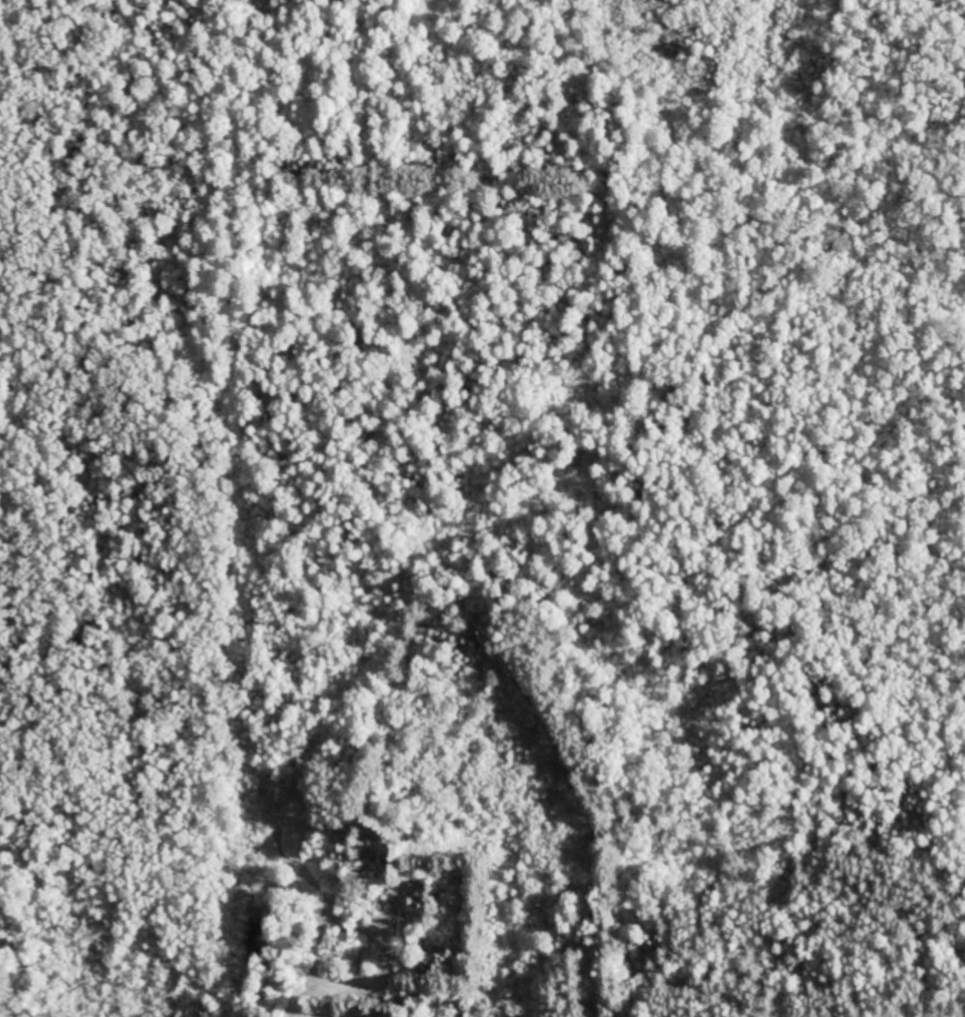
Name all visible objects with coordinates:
building: (339, 936)

